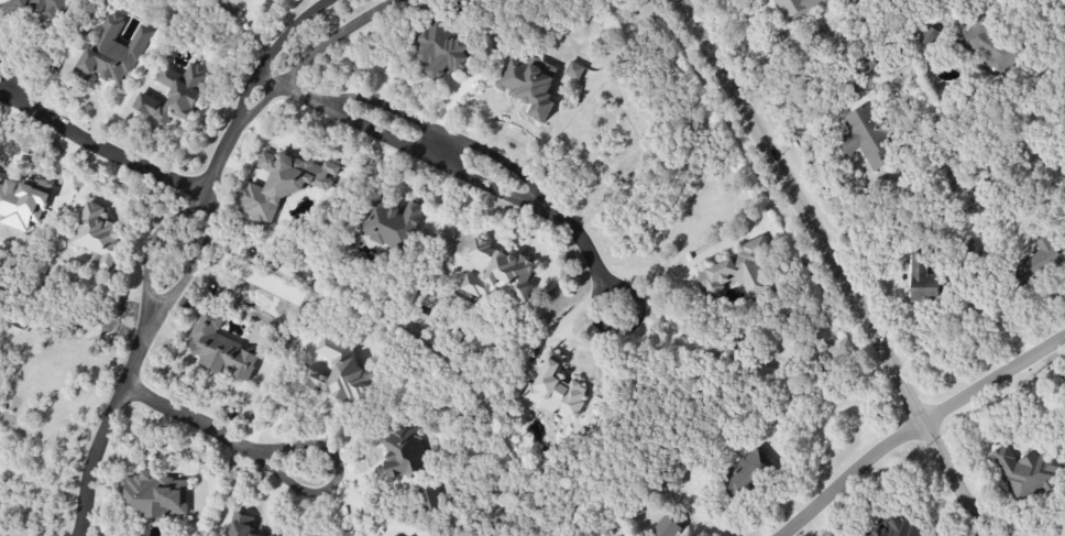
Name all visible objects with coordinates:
building: (261, 0)
building: (853, 1)
building: (41, 7)
building: (797, 8)
building: (927, 35)
building: (990, 47)
building: (443, 51)
building: (113, 53)
road: (274, 55)
road: (314, 56)
building: (868, 67)
building: (574, 70)
building: (527, 84)
road: (13, 85)
road: (283, 87)
building: (175, 94)
road: (442, 133)
building: (867, 138)
road: (439, 146)
road: (101, 149)
road: (430, 157)
road: (224, 161)
building: (284, 183)
building: (22, 201)
building: (391, 225)
building: (97, 236)
road: (584, 241)
road: (151, 247)
building: (1039, 259)
road: (196, 265)
road: (835, 265)
building: (740, 269)
building: (499, 273)
building: (923, 280)
road: (594, 309)
building: (221, 349)
building: (340, 373)
building: (557, 390)
road: (191, 418)
road: (107, 427)
road: (919, 429)
building: (404, 452)
building: (745, 472)
building: (1026, 473)
road: (338, 475)
building: (155, 494)
building: (429, 500)
building: (241, 525)
building: (667, 527)
building: (894, 528)
building: (271, 535)

